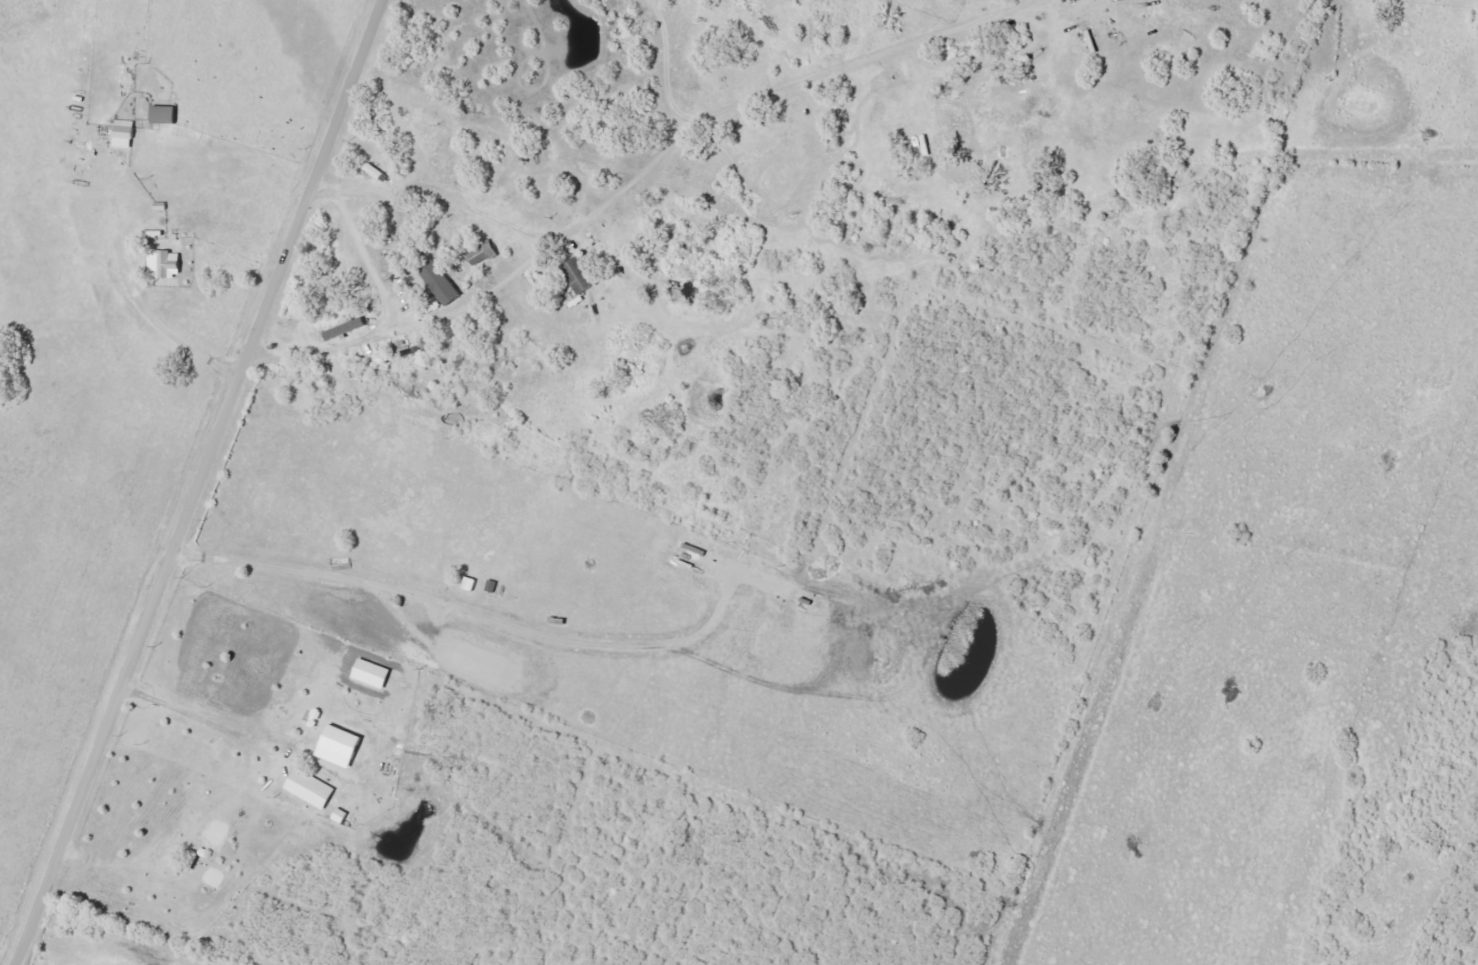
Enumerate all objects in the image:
building: (165, 114)
building: (124, 133)
building: (479, 253)
building: (572, 275)
building: (436, 281)
building: (340, 328)
road: (201, 483)
building: (373, 672)
building: (311, 788)
building: (341, 815)

